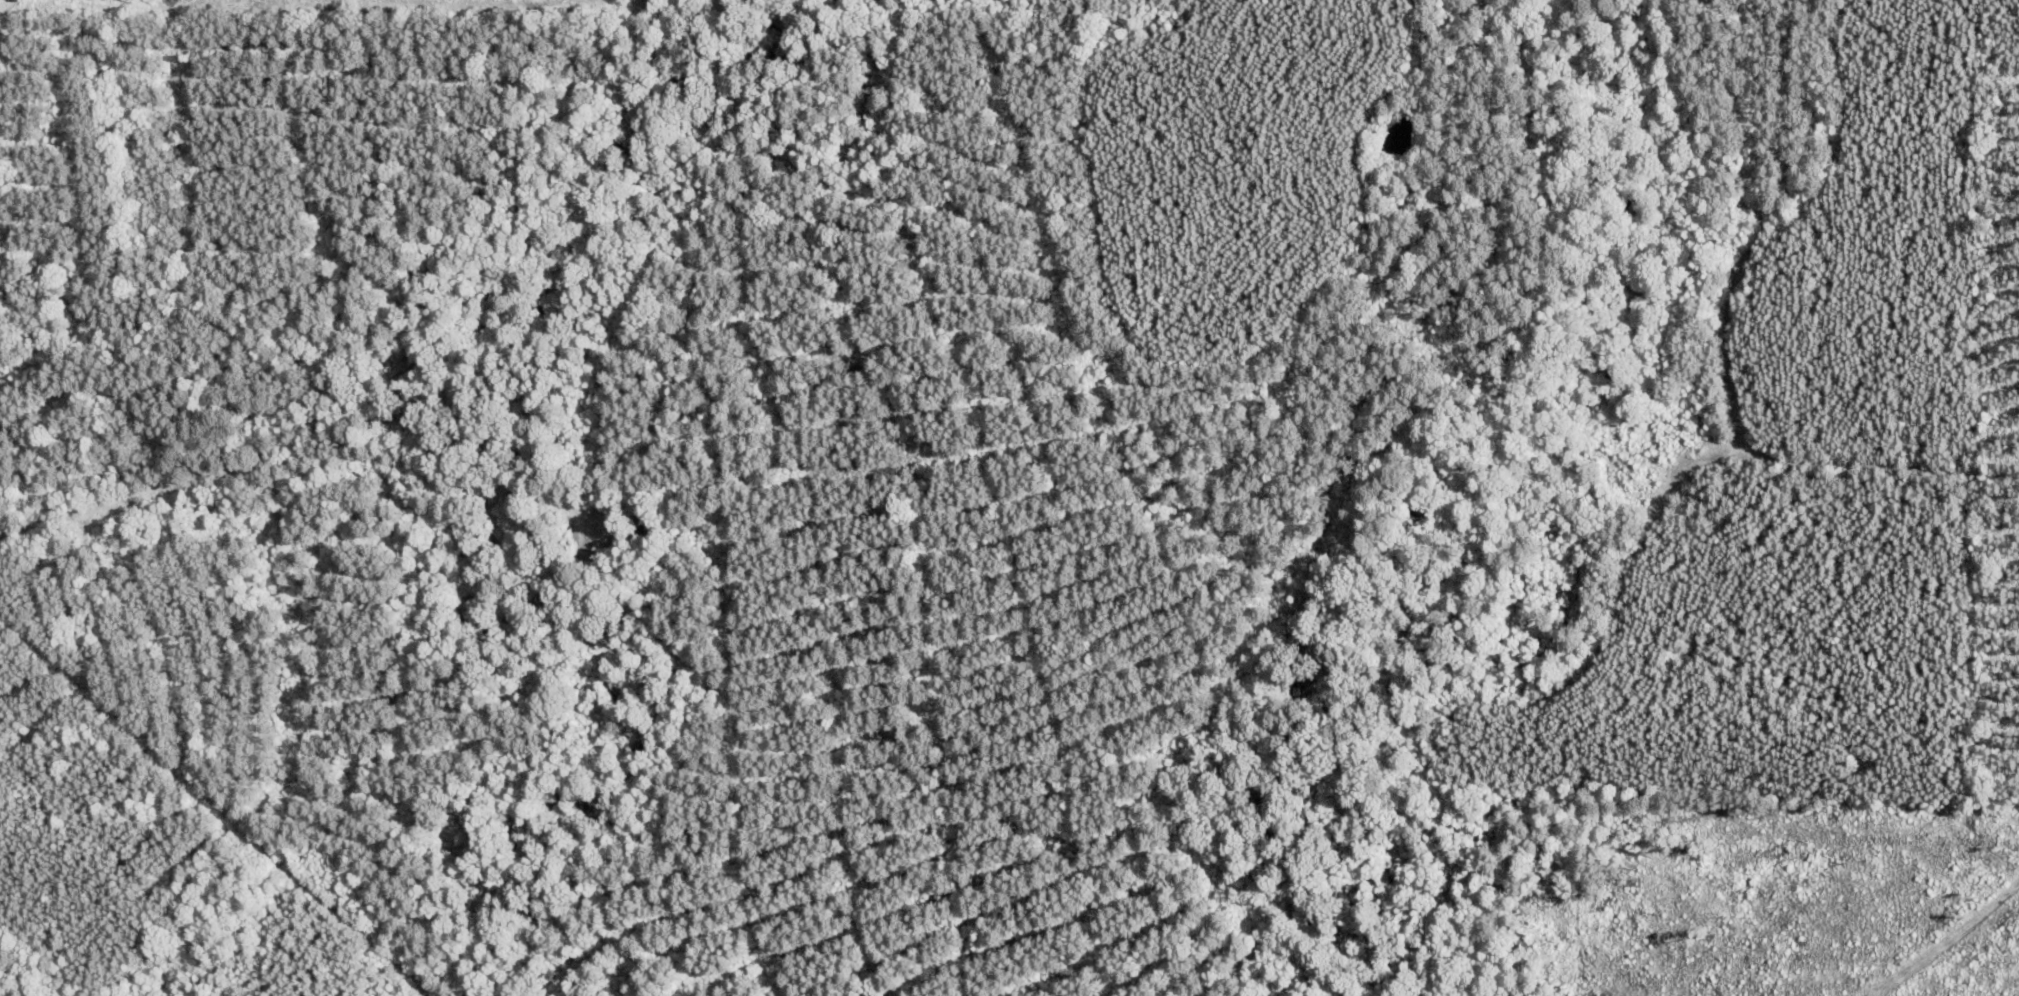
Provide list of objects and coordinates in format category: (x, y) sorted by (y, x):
road: (1944, 936)

